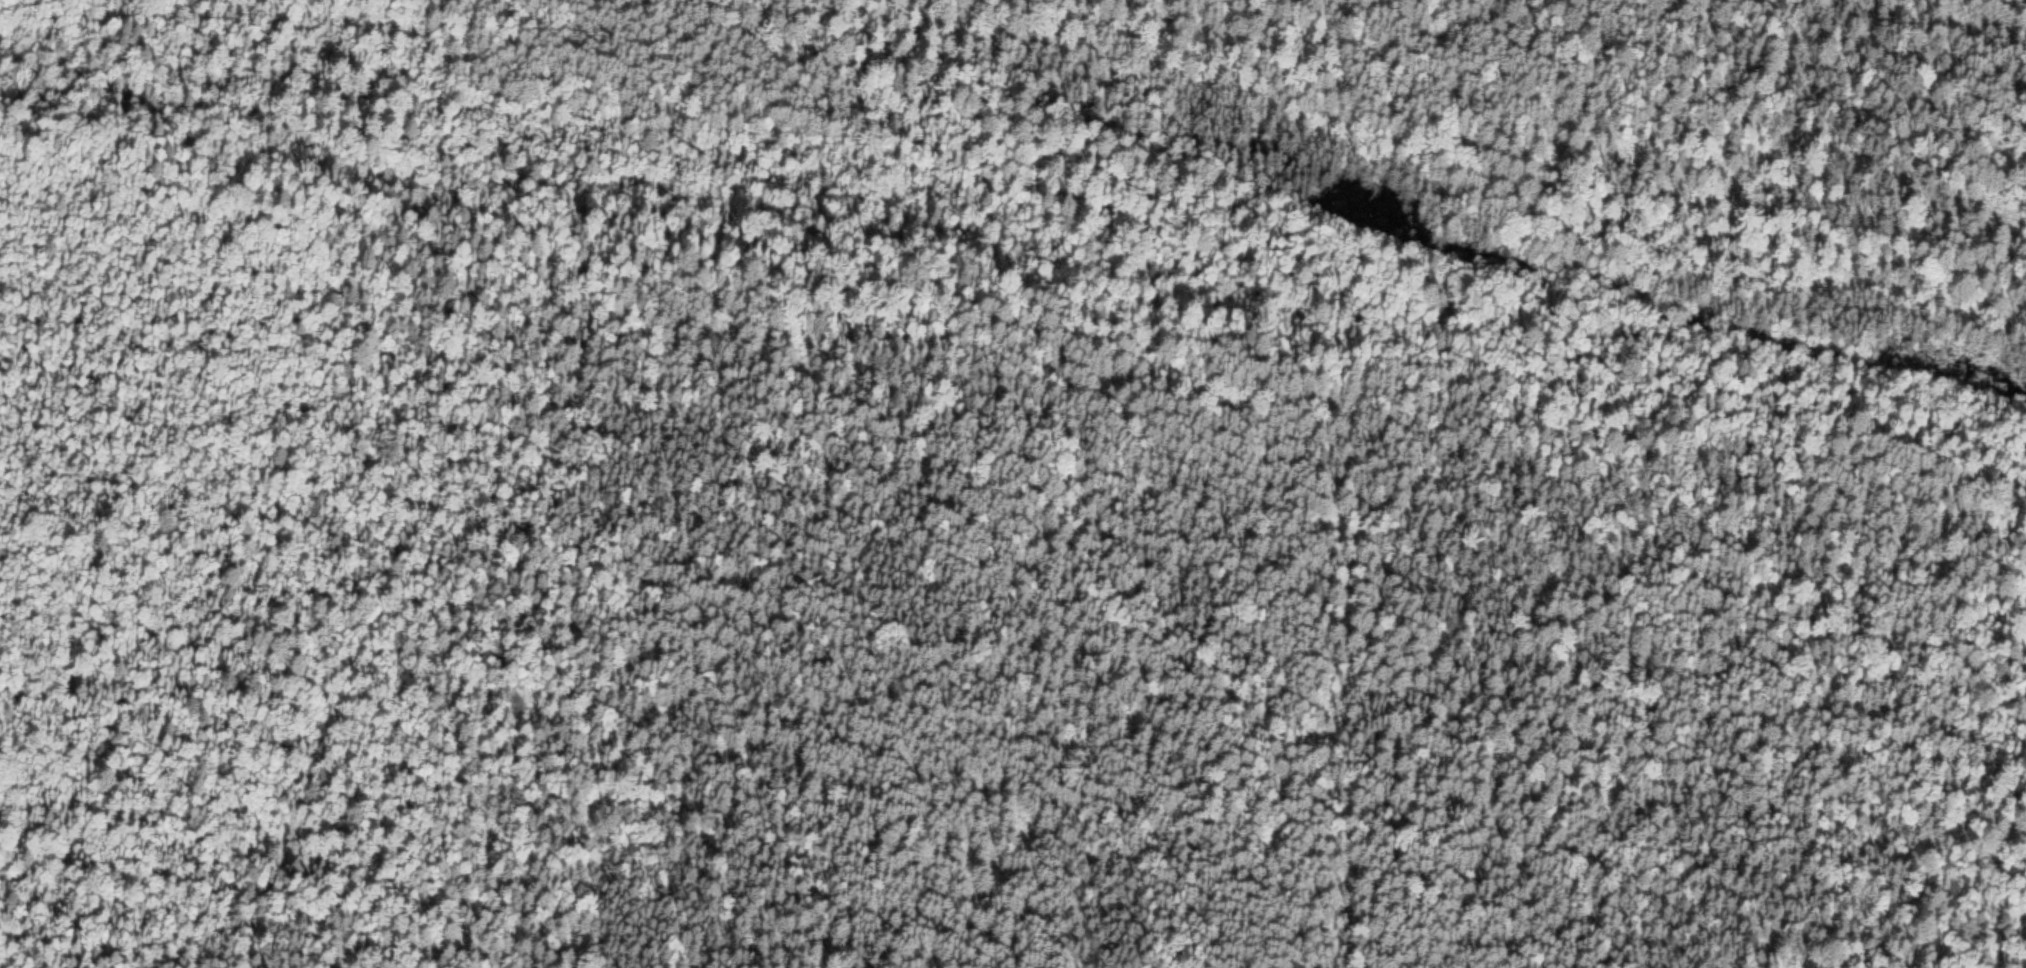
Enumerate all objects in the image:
road: (1951, 10)

